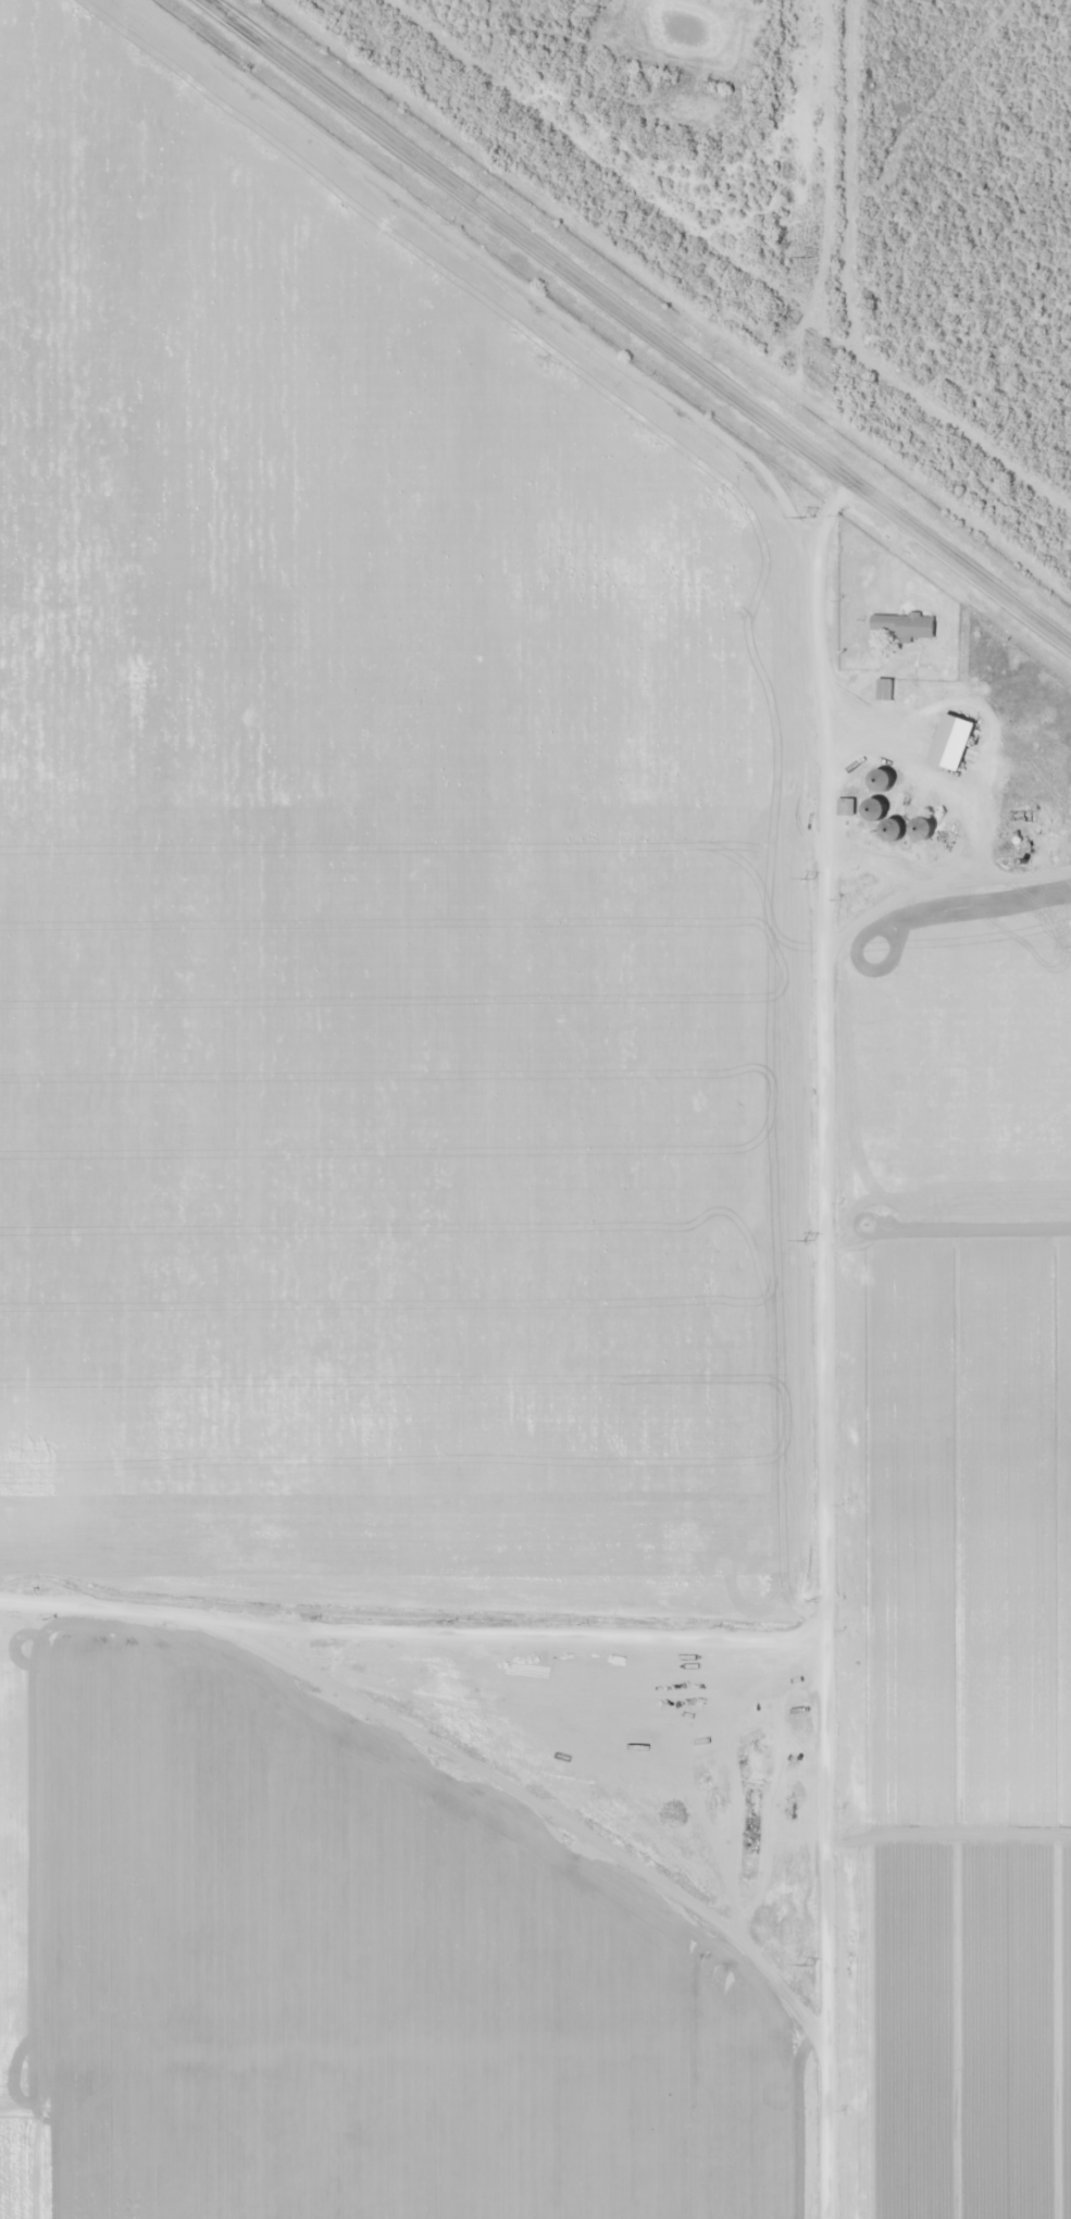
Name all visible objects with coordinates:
power tower: (809, 257)
road: (644, 319)
power tower: (809, 518)
building: (887, 689)
power tower: (808, 878)
power tower: (812, 1240)
road: (844, 1338)
power tower: (812, 1601)
road: (415, 1612)
power tower: (811, 1964)

